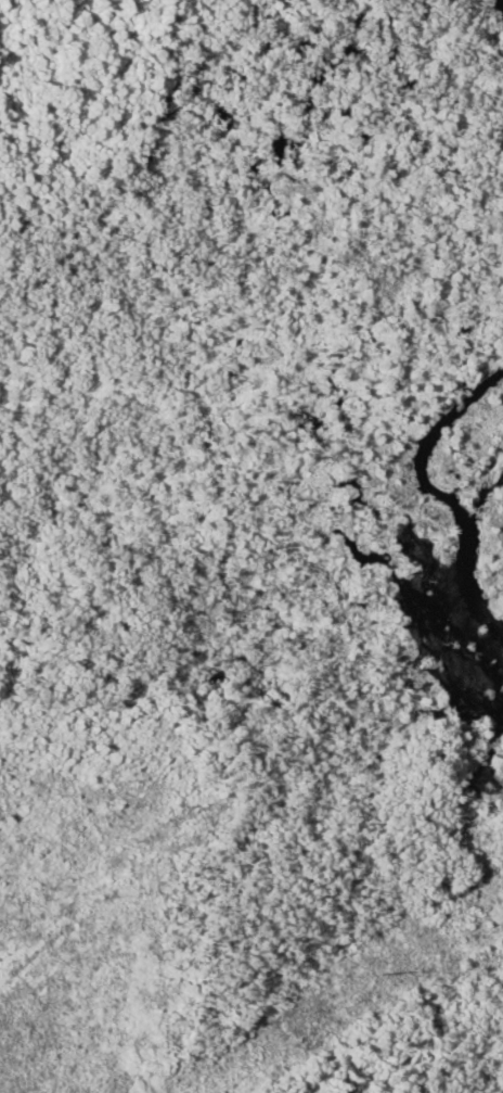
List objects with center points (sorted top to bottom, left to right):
power tower: (385, 974)

